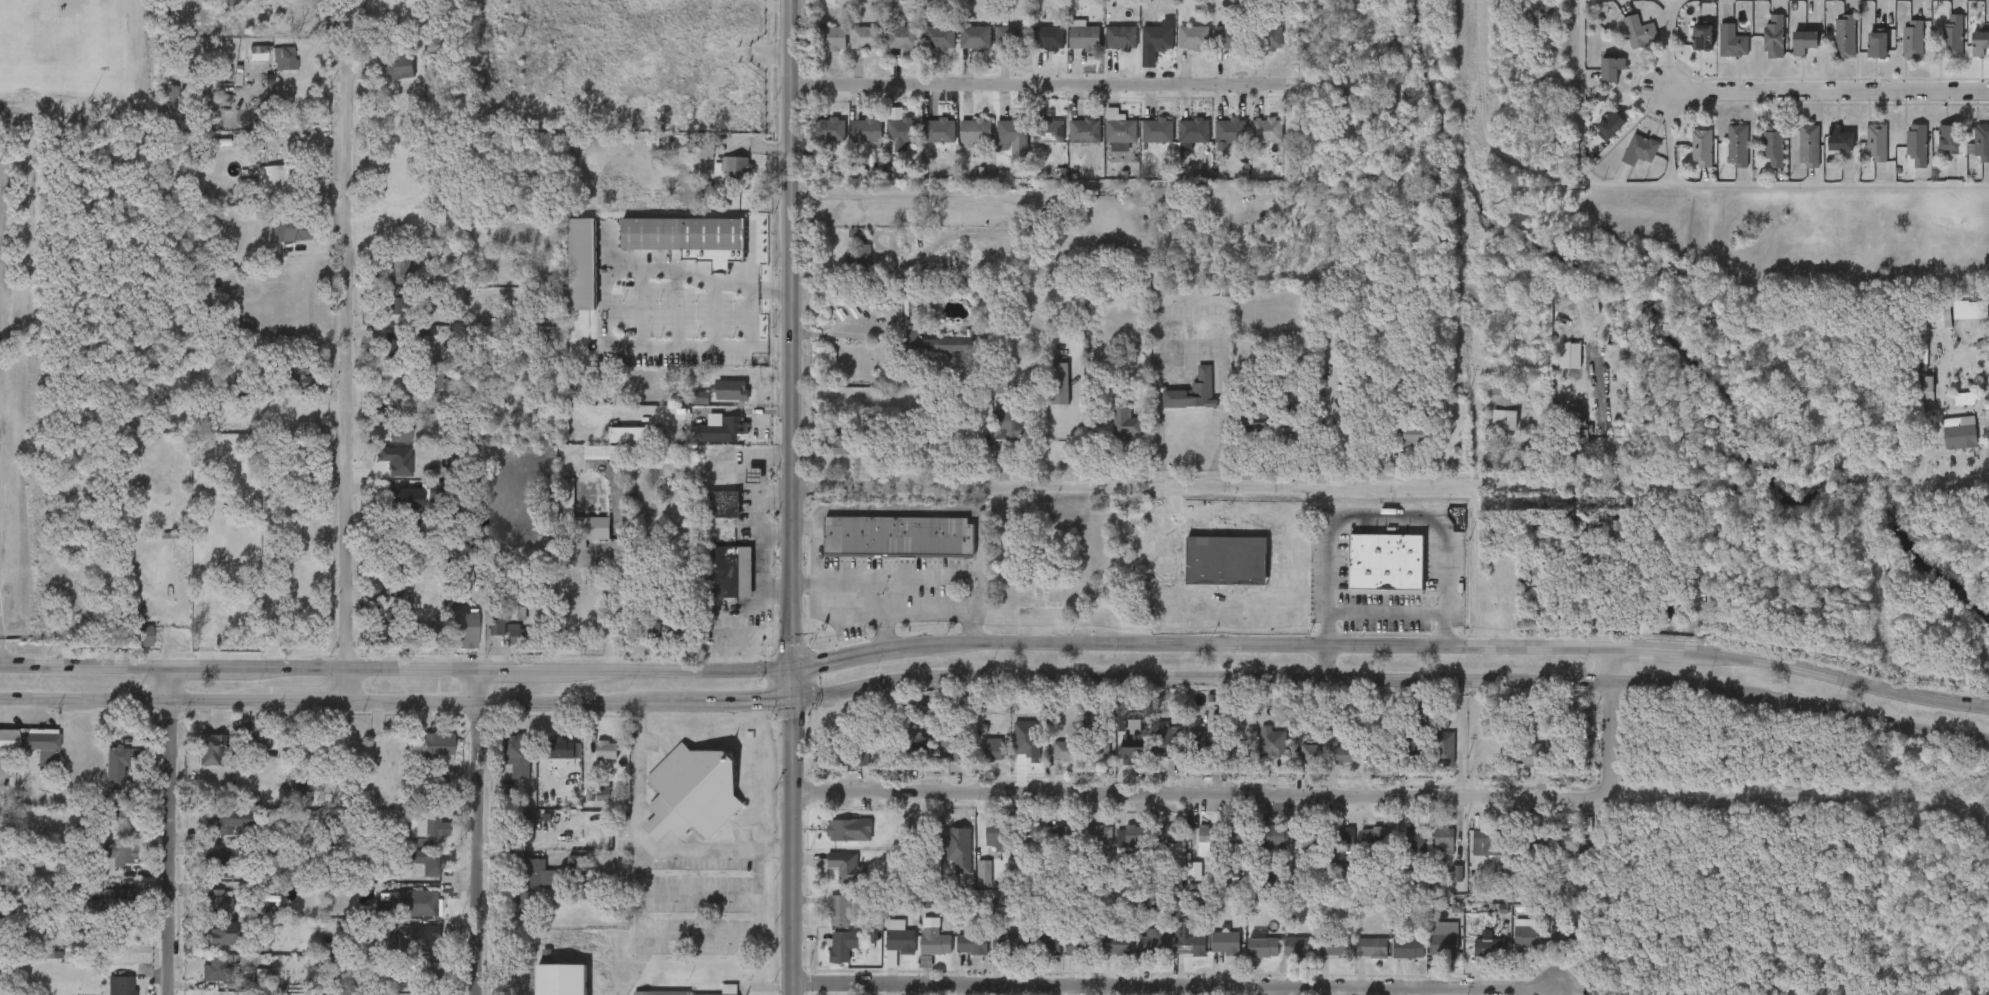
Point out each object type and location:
building: (1639, 31)
building: (1773, 35)
building: (1014, 36)
building: (1232, 36)
building: (1270, 36)
building: (1701, 36)
building: (1844, 36)
building: (1952, 36)
building: (833, 37)
building: (868, 37)
building: (904, 37)
building: (942, 37)
building: (978, 37)
building: (1050, 37)
building: (1086, 37)
building: (1123, 37)
building: (1159, 37)
building: (1195, 37)
building: (1912, 39)
building: (1732, 41)
building: (1802, 41)
building: (1978, 42)
park: (62, 44)
building: (1876, 44)
building: (257, 57)
building: (284, 59)
park: (76, 64)
building: (1610, 66)
building: (390, 69)
road: (1043, 86)
road: (1824, 91)
road: (1578, 100)
road: (1667, 100)
building: (169, 104)
road: (286, 107)
building: (896, 114)
building: (1607, 123)
building: (833, 128)
building: (868, 129)
building: (904, 129)
building: (941, 129)
building: (978, 129)
building: (1087, 129)
building: (1159, 129)
building: (1232, 129)
building: (1269, 129)
building: (1052, 130)
building: (1126, 130)
building: (1196, 130)
building: (1014, 131)
building: (1948, 138)
building: (1838, 140)
building: (1876, 142)
building: (1981, 142)
building: (1737, 145)
building: (1773, 145)
building: (1808, 145)
building: (1916, 145)
building: (1701, 147)
building: (1639, 148)
building: (701, 149)
building: (733, 168)
building: (276, 182)
building: (1192, 220)
building: (289, 230)
building: (683, 235)
building: (859, 258)
building: (948, 261)
building: (581, 265)
building: (395, 271)
road: (714, 283)
building: (392, 307)
building: (1970, 309)
building: (1943, 317)
road: (1192, 326)
building: (426, 331)
road: (838, 332)
building: (949, 346)
building: (394, 351)
building: (909, 351)
building: (1570, 356)
road: (353, 374)
building: (294, 377)
building: (438, 382)
building: (1057, 384)
building: (1926, 388)
building: (729, 391)
building: (1192, 392)
building: (1964, 399)
building: (697, 400)
building: (1502, 409)
building: (1015, 425)
building: (1120, 425)
building: (1252, 425)
building: (721, 431)
building: (398, 432)
building: (1412, 433)
building: (1960, 433)
building: (628, 435)
building: (841, 443)
building: (604, 453)
building: (395, 460)
road: (1238, 486)
road: (1966, 489)
road: (777, 495)
building: (401, 497)
road: (792, 497)
building: (419, 503)
building: (554, 509)
road: (763, 510)
road: (924, 511)
building: (389, 513)
building: (710, 517)
road: (1387, 518)
road: (778, 534)
building: (897, 537)
building: (586, 541)
building: (199, 544)
building: (1600, 544)
building: (400, 548)
building: (453, 549)
building: (1385, 563)
building: (729, 572)
road: (804, 582)
road: (891, 582)
building: (367, 603)
road: (1385, 612)
road: (740, 615)
road: (876, 617)
building: (505, 629)
building: (461, 632)
building: (136, 637)
building: (496, 643)
building: (653, 643)
building: (449, 644)
road: (995, 645)
building: (128, 648)
road: (1325, 663)
traffic signals: (792, 670)
road: (996, 678)
road: (355, 686)
traffic signals: (793, 701)
building: (1409, 723)
building: (254, 736)
building: (8, 740)
building: (1273, 740)
building: (437, 743)
building: (1166, 744)
building: (911, 746)
building: (562, 747)
building: (1443, 747)
building: (41, 748)
building: (212, 748)
building: (960, 748)
building: (994, 748)
building: (1132, 748)
building: (606, 749)
building: (1064, 749)
building: (1097, 750)
building: (241, 751)
building: (1200, 751)
building: (513, 752)
building: (847, 753)
building: (1311, 753)
building: (1376, 753)
building: (1410, 753)
building: (1184, 754)
building: (1342, 754)
building: (1572, 755)
building: (1119, 756)
building: (1150, 756)
building: (1258, 756)
building: (24, 757)
building: (424, 757)
building: (1399, 759)
building: (1431, 761)
building: (116, 762)
building: (551, 762)
building: (937, 762)
building: (980, 762)
building: (195, 763)
building: (593, 763)
building: (1086, 763)
building: (1050, 764)
building: (1218, 764)
building: (1297, 767)
building: (503, 768)
building: (1329, 768)
building: (1510, 771)
building: (839, 772)
building: (102, 780)
building: (301, 782)
building: (694, 793)
road: (1282, 799)
building: (589, 805)
building: (229, 819)
building: (118, 820)
building: (429, 825)
building: (297, 829)
building: (846, 829)
road: (178, 832)
building: (1238, 832)
building: (108, 833)
road: (480, 833)
building: (215, 834)
building: (993, 834)
building: (1030, 834)
building: (1100, 834)
building: (1064, 835)
building: (1165, 835)
building: (1311, 835)
building: (1344, 835)
building: (1136, 836)
building: (1273, 836)
building: (1375, 836)
building: (416, 837)
building: (1204, 838)
building: (1416, 838)
building: (1443, 839)
building: (1566, 840)
building: (834, 841)
building: (1486, 841)
building: (1528, 841)
building: (924, 843)
building: (958, 847)
building: (1018, 847)
building: (1153, 847)
building: (1046, 848)
building: (1086, 848)
road: (718, 849)
building: (1223, 849)
building: (982, 850)
building: (1121, 850)
building: (1262, 850)
building: (1331, 850)
building: (1359, 850)
road: (642, 851)
building: (1400, 852)
building: (119, 853)
building: (1192, 853)
building: (1553, 853)
building: (1294, 854)
building: (1429, 854)
building: (1470, 856)
building: (424, 859)
building: (946, 861)
building: (847, 865)
building: (106, 866)
building: (983, 870)
building: (539, 872)
building: (411, 874)
building: (561, 876)
building: (207, 879)
building: (833, 880)
building: (970, 884)
building: (1180, 884)
building: (524, 886)
building: (1442, 886)
road: (699, 894)
building: (120, 898)
building: (217, 901)
building: (417, 902)
building: (525, 902)
building: (838, 909)
building: (102, 910)
building: (204, 915)
building: (396, 916)
building: (511, 920)
building: (826, 922)
building: (225, 933)
building: (1566, 933)
building: (1528, 934)
building: (898, 935)
building: (1443, 938)
road: (742, 940)
building: (1225, 941)
building: (934, 942)
building: (971, 942)
building: (1169, 942)
building: (1007, 943)
building: (1114, 943)
building: (1079, 944)
building: (1262, 945)
building: (1298, 945)
building: (1334, 945)
building: (207, 946)
building: (843, 946)
building: (1372, 946)
building: (1489, 946)
building: (1045, 947)
building: (1408, 947)
building: (1549, 947)
building: (1515, 949)
building: (404, 951)
building: (920, 951)
building: (1429, 952)
building: (884, 954)
building: (993, 954)
building: (1140, 954)
building: (1212, 955)
building: (1036, 956)
building: (958, 957)
building: (828, 958)
building: (1103, 958)
building: (1474, 958)
building: (1062, 959)
building: (1285, 959)
building: (1248, 960)
building: (1321, 960)
building: (1358, 960)
building: (1394, 961)
building: (532, 967)
building: (219, 968)
building: (434, 974)
building: (319, 976)
building: (201, 981)
building: (422, 982)
building: (123, 985)
road: (1177, 986)
building: (107, 992)
building: (692, 992)

